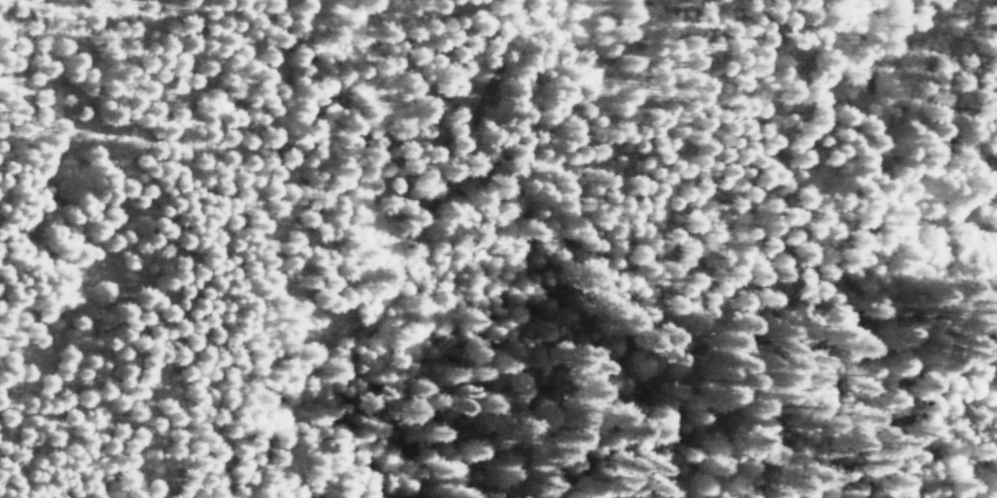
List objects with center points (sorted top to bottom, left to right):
road: (392, 249)

